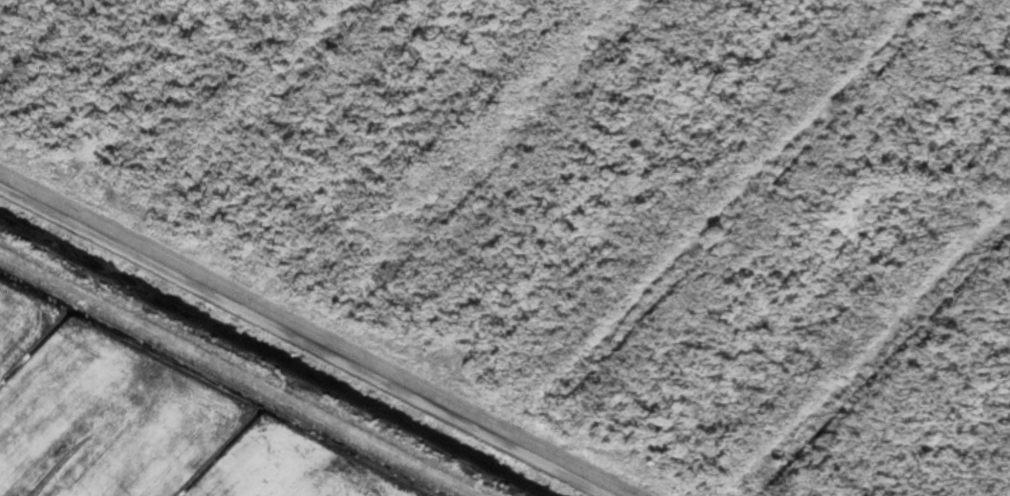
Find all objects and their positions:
road: (300, 345)

